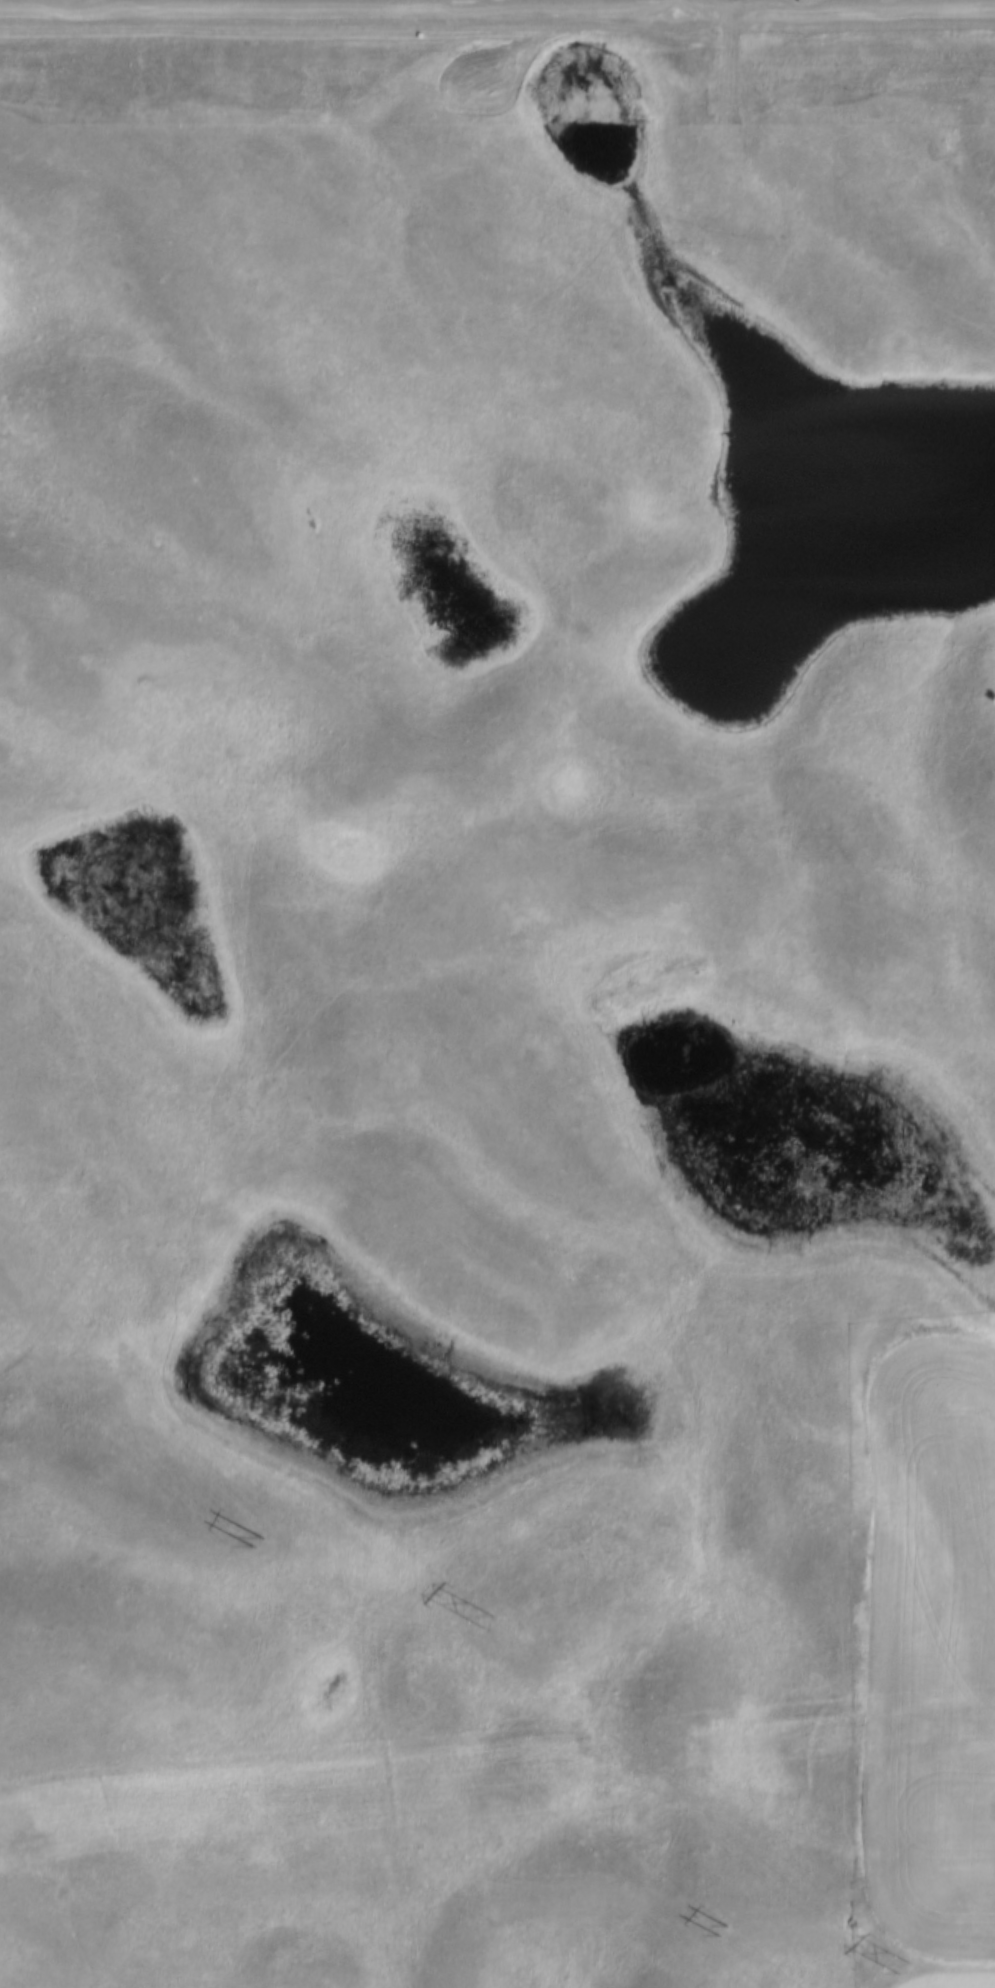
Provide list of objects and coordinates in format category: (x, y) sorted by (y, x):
power tower: (484, 1623)
power tower: (895, 1967)

